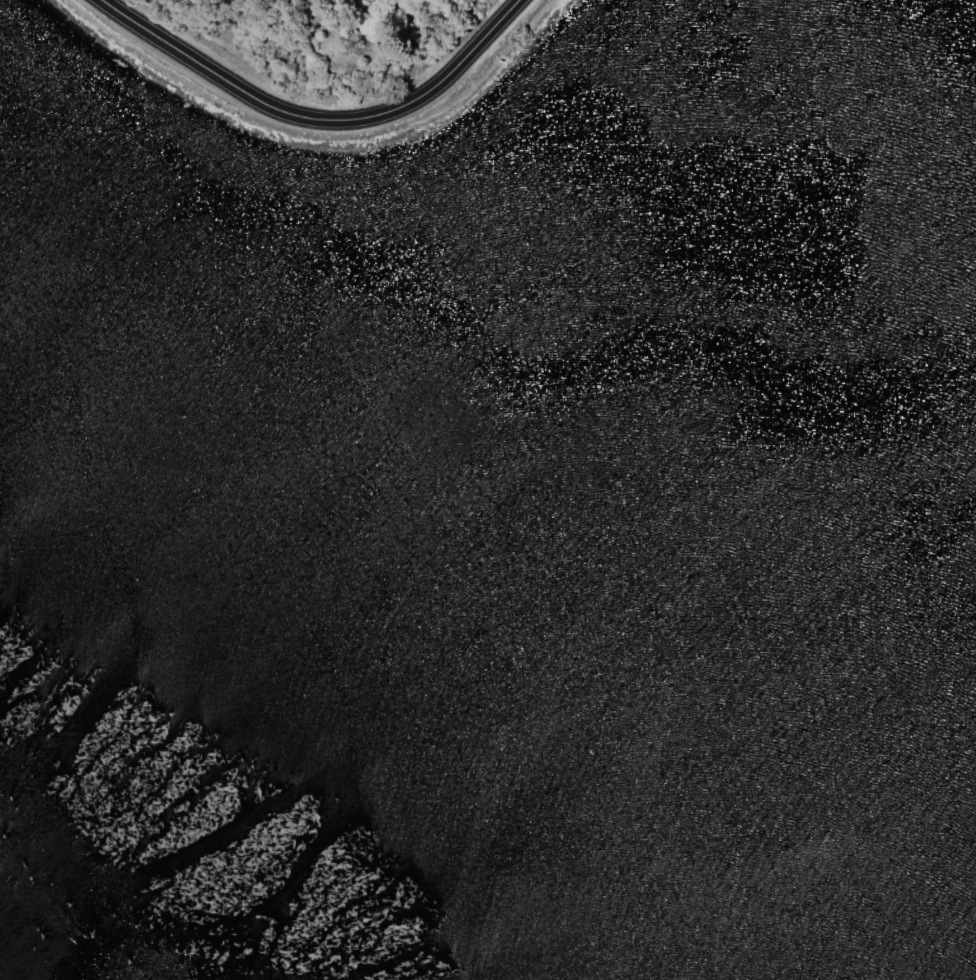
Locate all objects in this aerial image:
road: (315, 118)
road: (313, 130)

